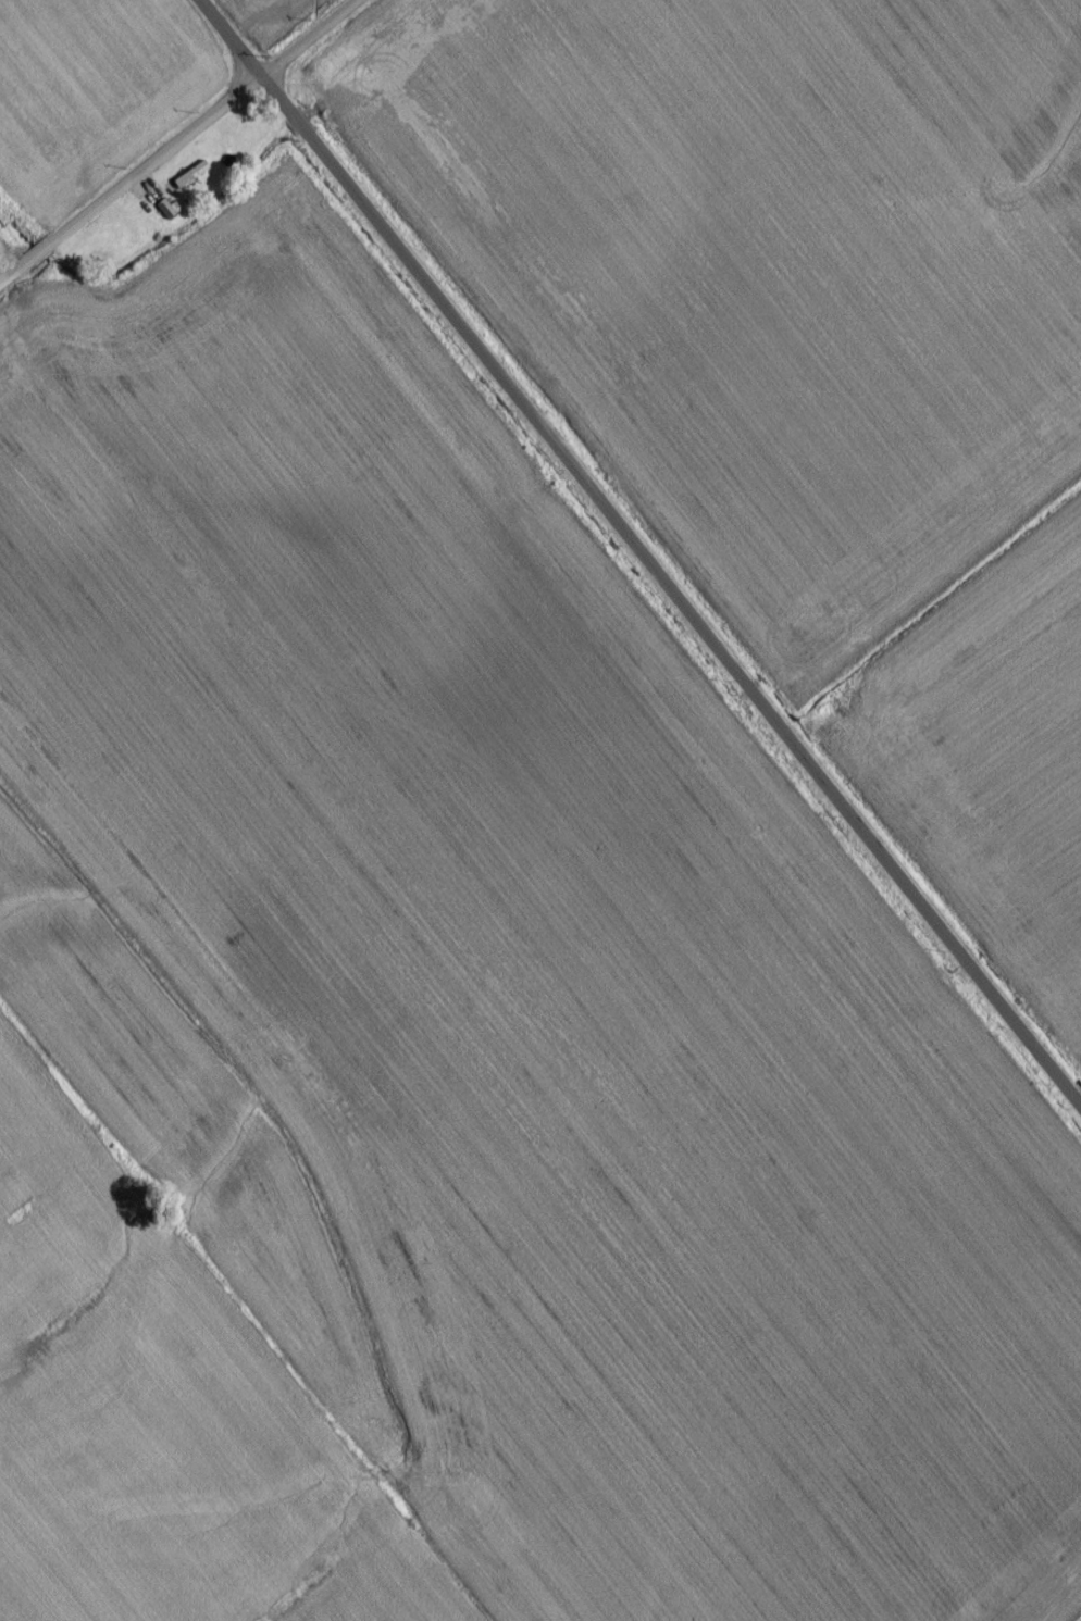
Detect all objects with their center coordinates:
road: (183, 146)
building: (185, 182)
road: (633, 557)

